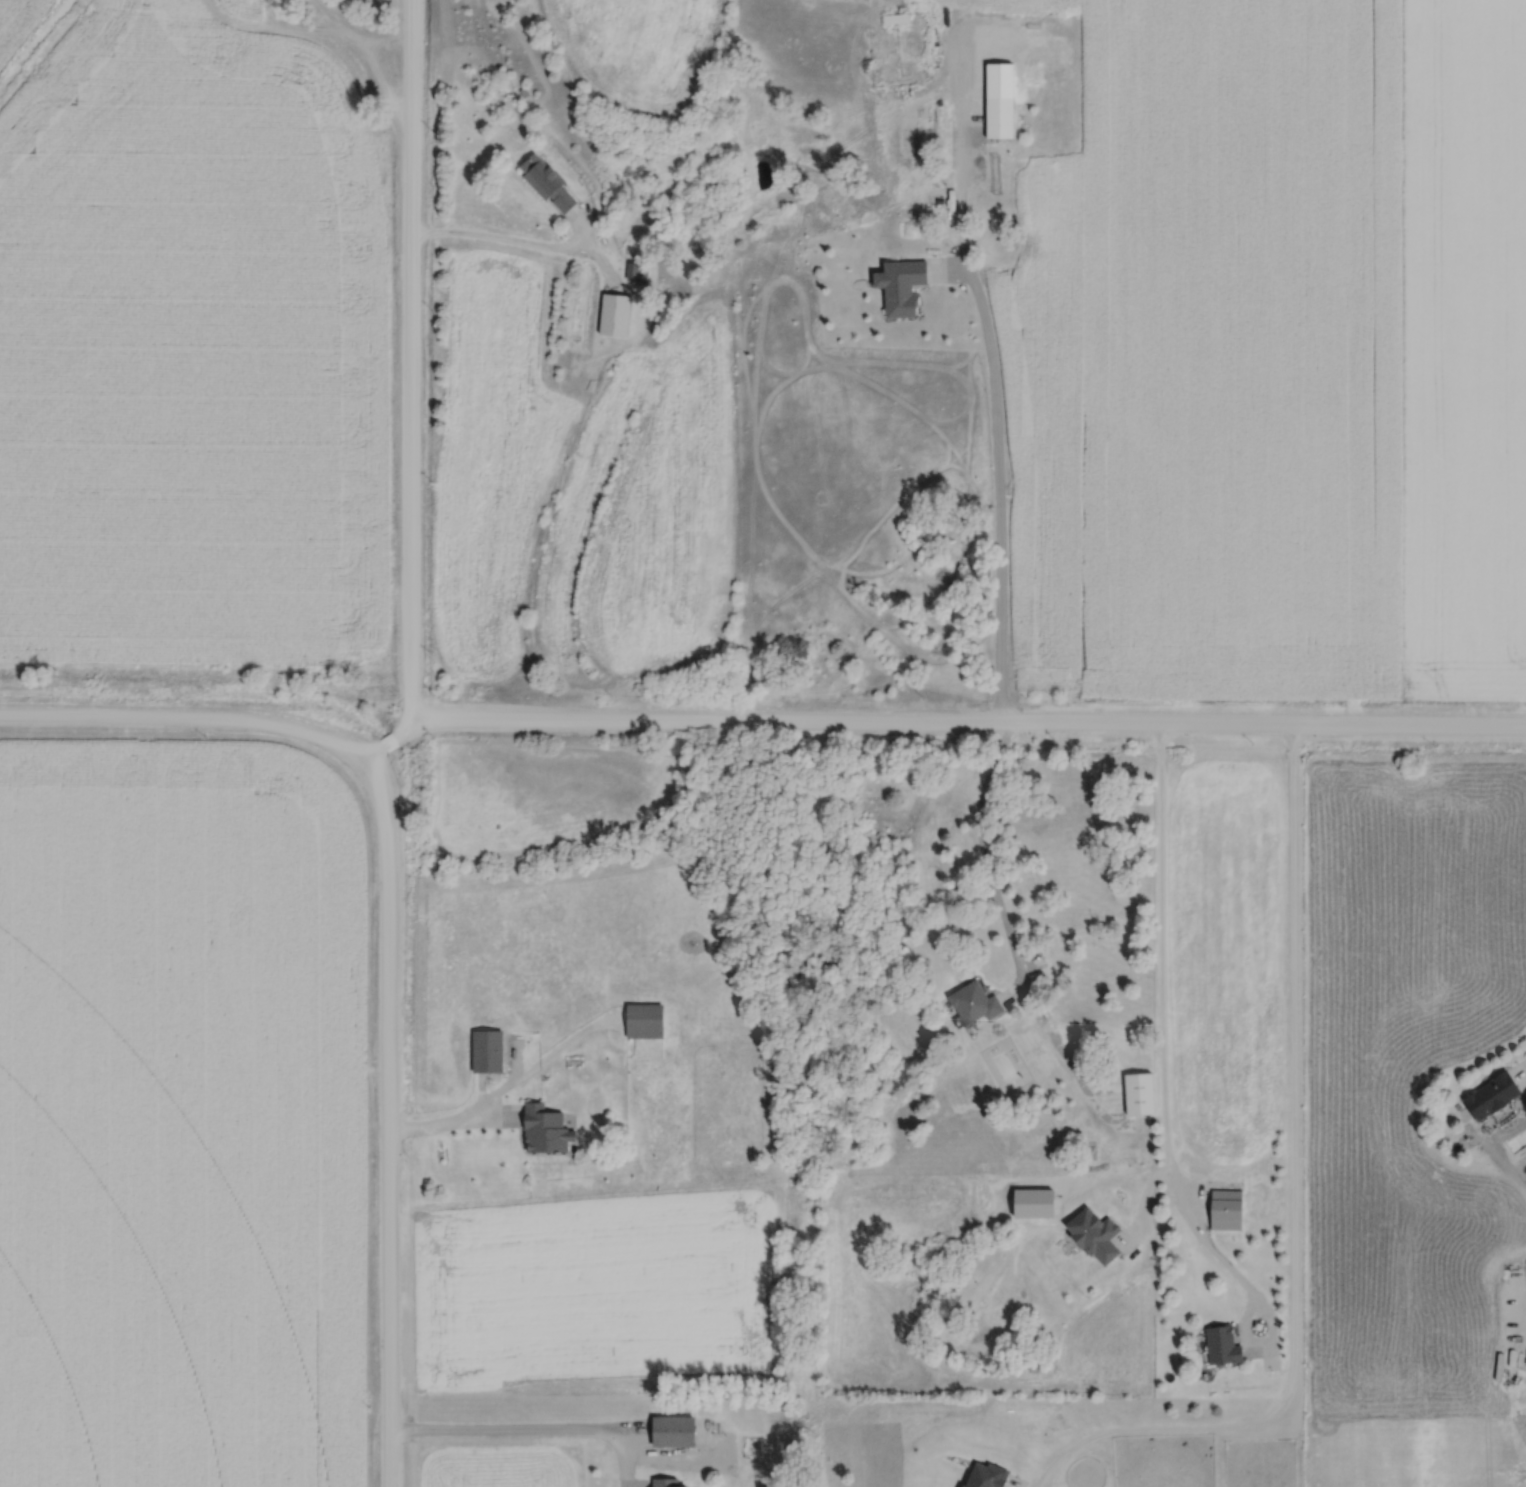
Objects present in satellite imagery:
building: (260, 5)
building: (893, 17)
building: (1034, 66)
building: (996, 117)
building: (543, 183)
road: (523, 247)
building: (634, 272)
building: (897, 286)
building: (612, 314)
road: (405, 373)
road: (998, 459)
road: (184, 720)
road: (965, 726)
road: (385, 744)
road: (988, 869)
building: (970, 1003)
building: (647, 1020)
road: (1163, 1025)
building: (491, 1051)
building: (1000, 1072)
building: (1135, 1094)
building: (1489, 1098)
road: (383, 1111)
road: (452, 1123)
building: (550, 1129)
road: (1293, 1202)
building: (1223, 1209)
road: (1272, 1322)
building: (1218, 1347)
building: (677, 1431)
road: (521, 1434)
building: (980, 1475)
building: (667, 1482)

